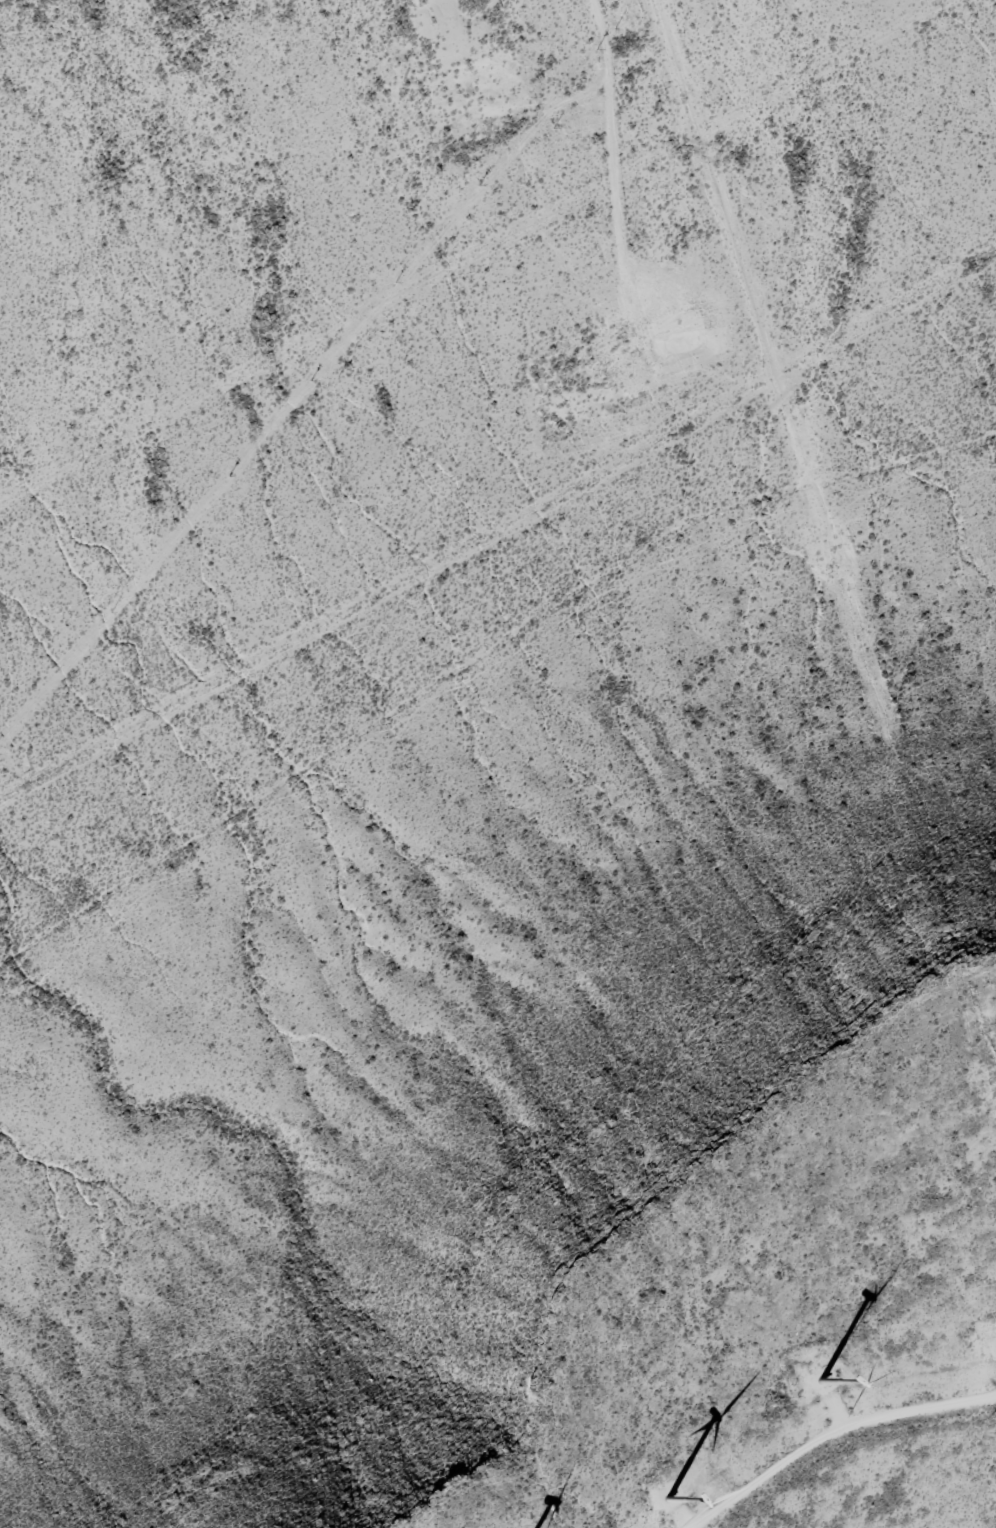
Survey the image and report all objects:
road: (581, 10)
wind turbine: (812, 1387)
wind turbine: (652, 1491)

